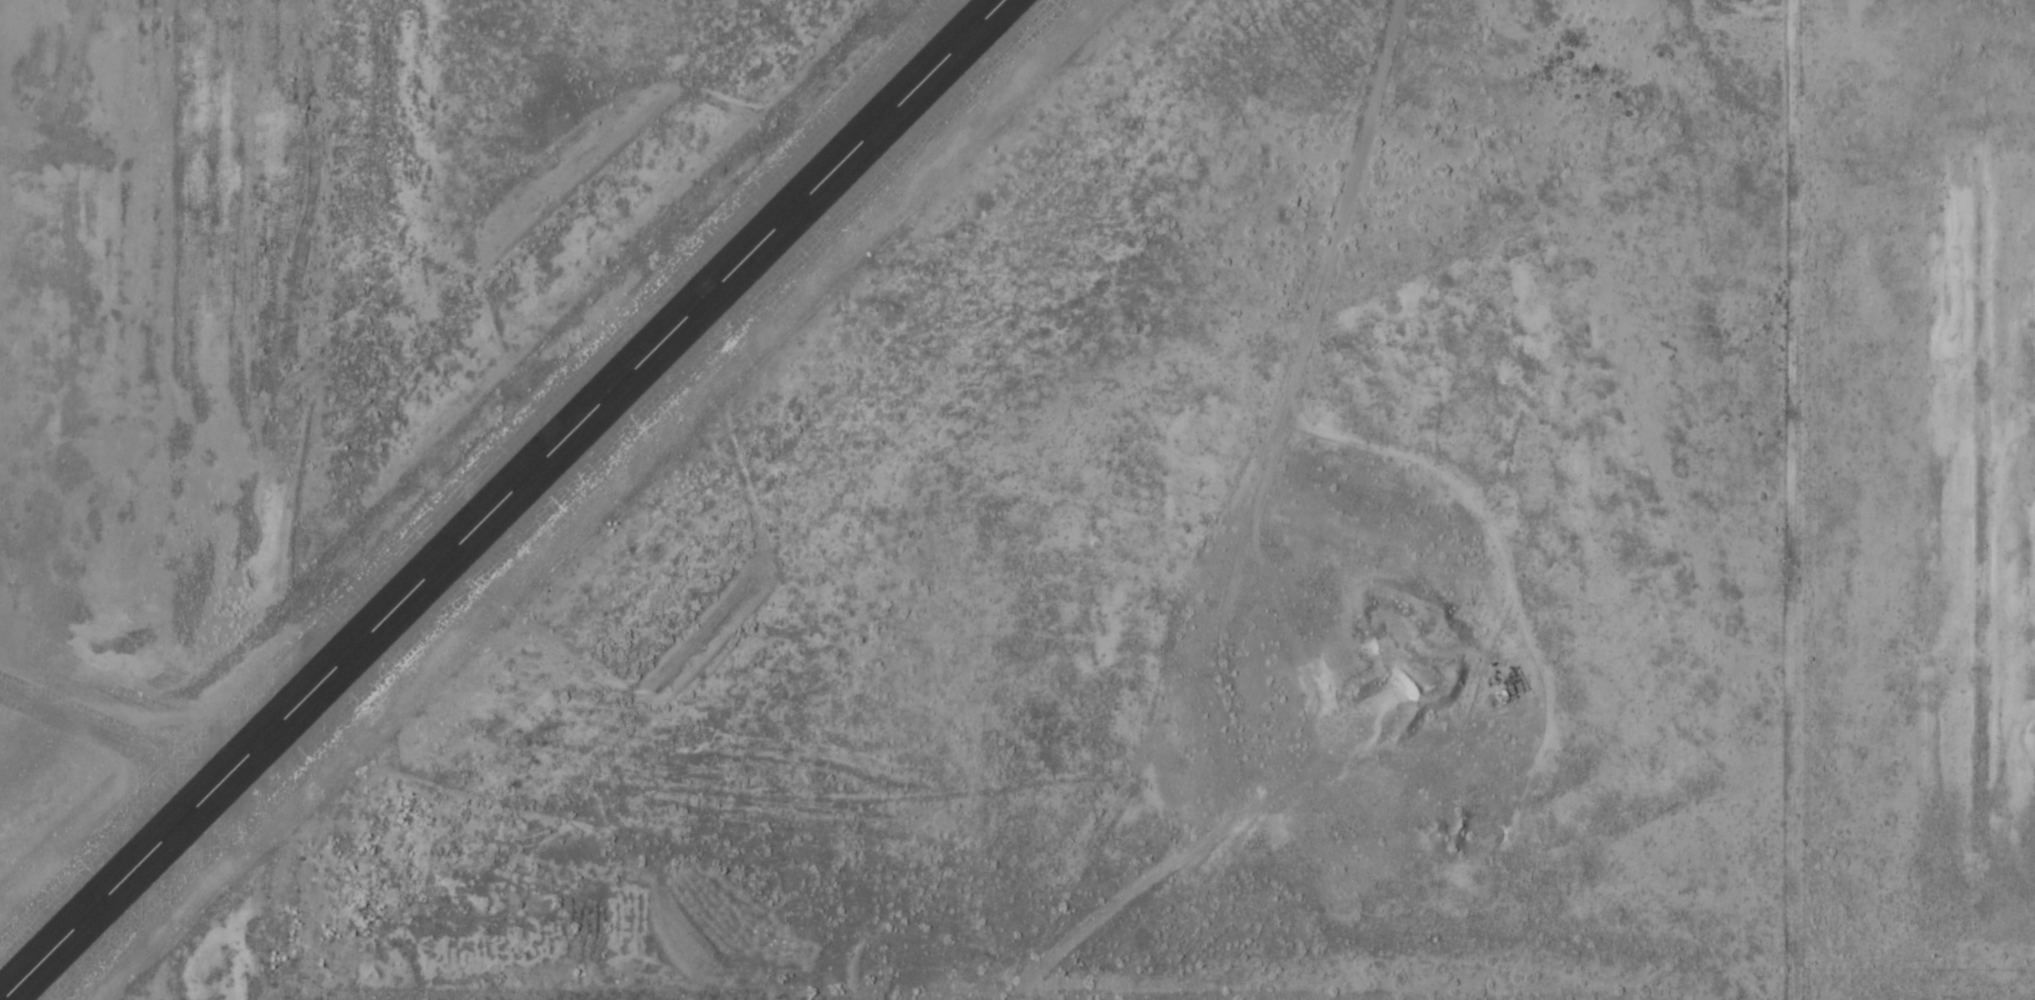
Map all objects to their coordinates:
airport runway: (499, 499)
airport taxiway: (112, 729)
road: (2029, 999)

